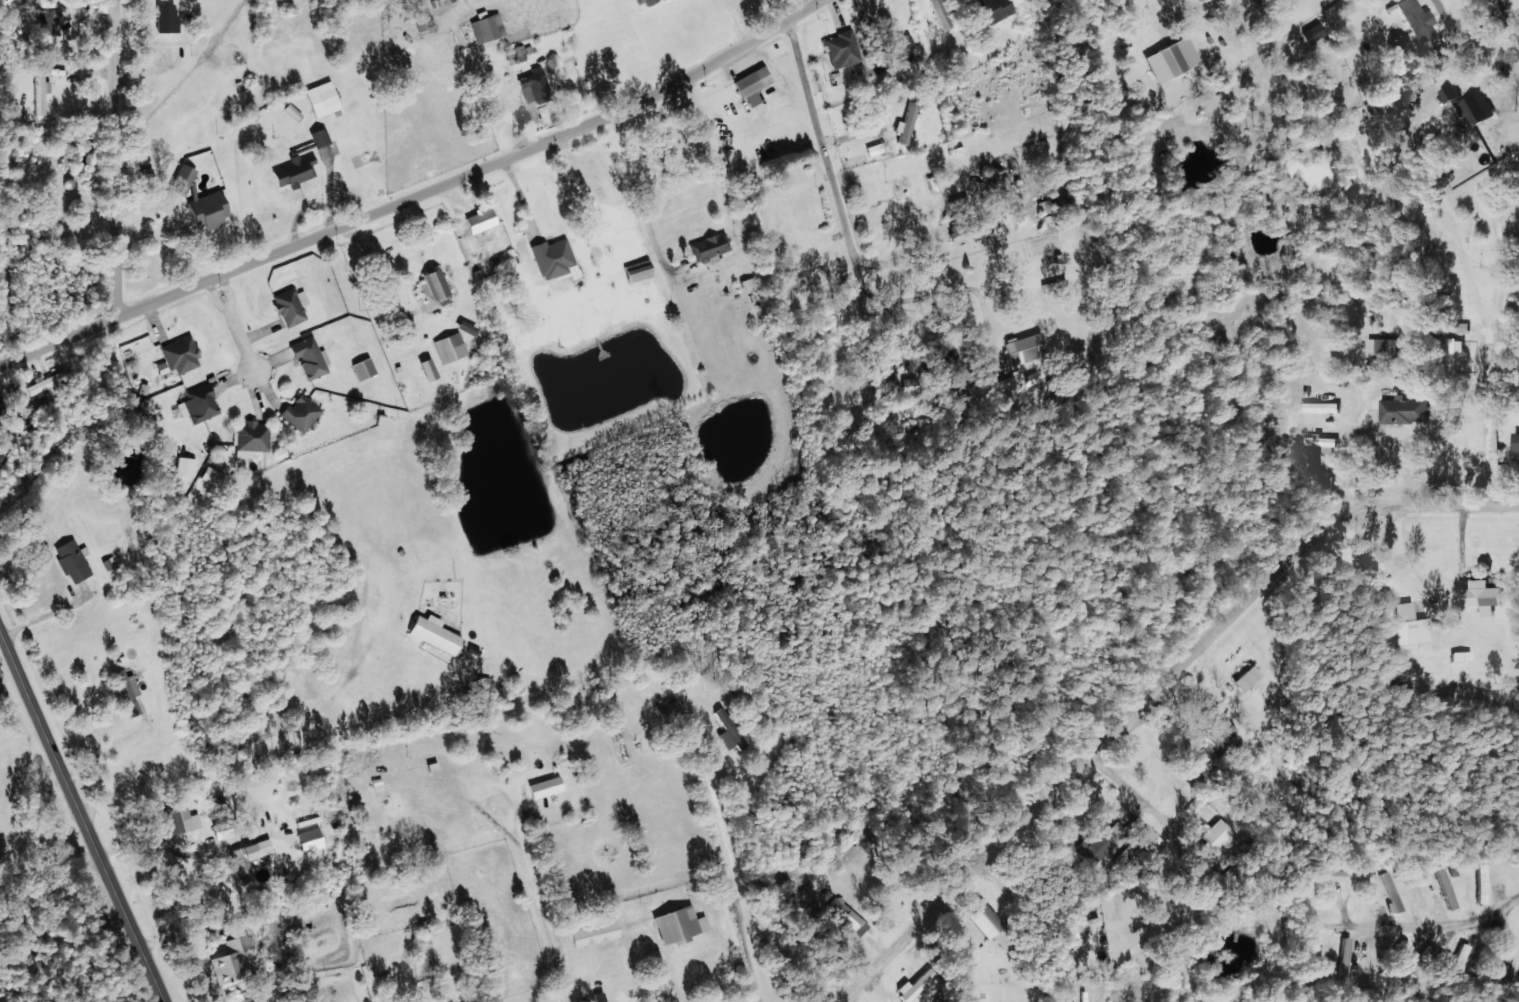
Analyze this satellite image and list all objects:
building: (645, 1)
road: (166, 4)
building: (996, 9)
building: (939, 14)
building: (166, 18)
building: (1416, 18)
building: (46, 22)
building: (424, 24)
building: (487, 28)
building: (1313, 32)
building: (842, 49)
building: (900, 49)
building: (522, 50)
building: (1172, 59)
building: (752, 84)
building: (534, 86)
building: (39, 92)
building: (1451, 93)
building: (322, 99)
building: (1479, 108)
building: (292, 111)
building: (905, 124)
road: (104, 137)
building: (319, 137)
road: (873, 174)
road: (406, 176)
building: (182, 179)
building: (209, 209)
road: (996, 209)
building: (1045, 210)
building: (480, 219)
building: (965, 231)
building: (708, 248)
building: (553, 257)
building: (638, 270)
building: (433, 285)
road: (1012, 294)
building: (290, 306)
building: (466, 327)
building: (1384, 345)
building: (449, 348)
building: (1025, 349)
building: (1454, 353)
building: (181, 355)
building: (310, 358)
building: (363, 369)
building: (428, 369)
building: (882, 376)
building: (49, 380)
road: (1400, 386)
building: (200, 404)
building: (1321, 407)
building: (1405, 410)
building: (3, 413)
building: (300, 413)
building: (251, 438)
building: (1518, 441)
building: (1324, 443)
building: (185, 466)
building: (210, 476)
building: (72, 561)
building: (108, 563)
building: (1484, 596)
building: (1409, 628)
building: (434, 634)
building: (1460, 656)
building: (1246, 678)
building: (126, 690)
road: (1150, 692)
building: (668, 710)
building: (730, 731)
building: (1219, 733)
road: (282, 745)
building: (1205, 759)
building: (423, 760)
building: (545, 786)
building: (177, 814)
road: (81, 820)
road: (713, 832)
building: (1100, 842)
building: (1215, 842)
building: (234, 858)
building: (1335, 875)
building: (1483, 883)
building: (1447, 888)
building: (1390, 892)
building: (1420, 896)
road: (548, 911)
building: (848, 916)
building: (984, 917)
road: (1039, 917)
building: (1086, 923)
building: (679, 924)
building: (594, 932)
building: (1003, 939)
building: (1344, 956)
building: (1423, 959)
building: (1458, 959)
building: (231, 962)
building: (920, 987)

